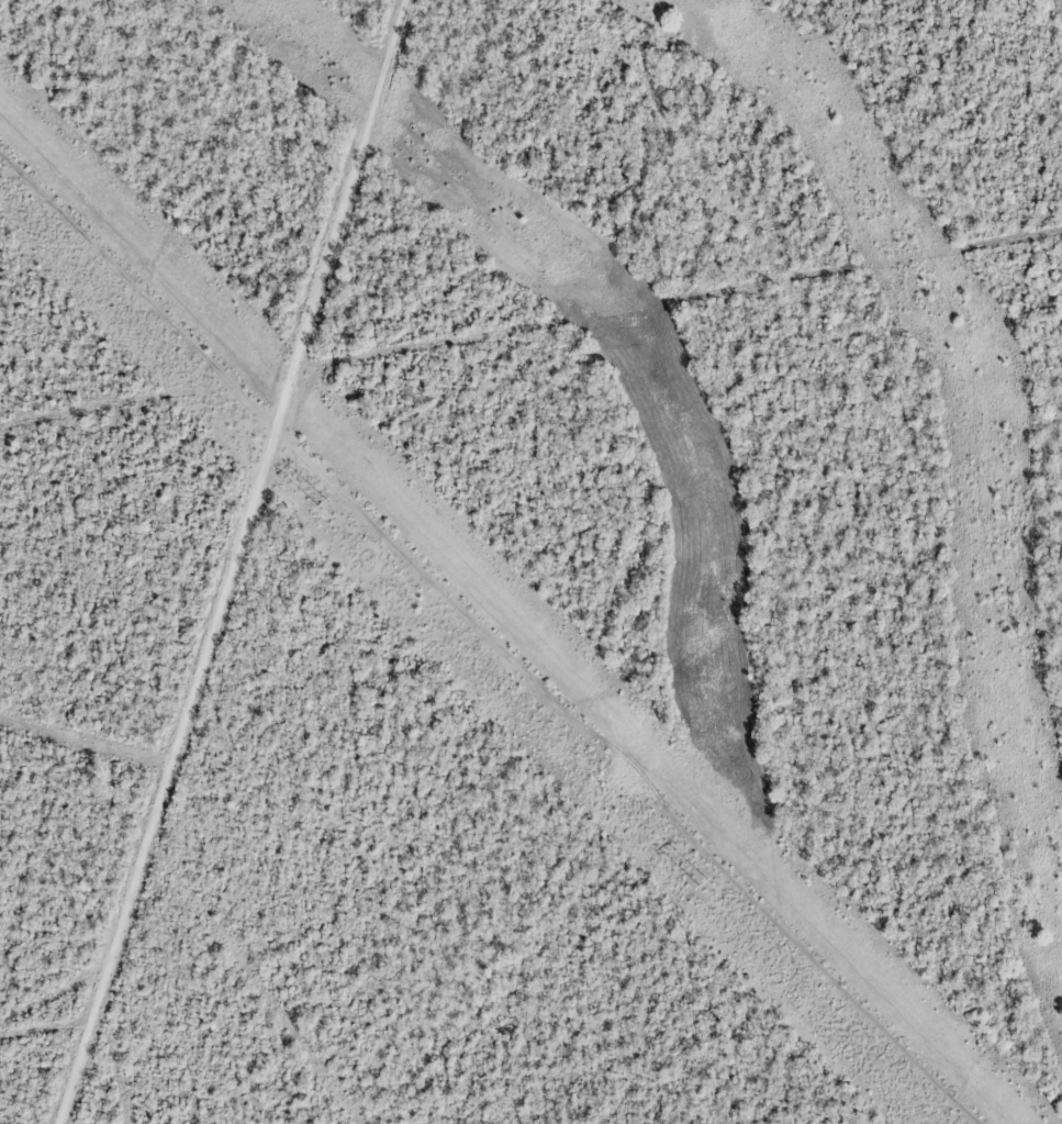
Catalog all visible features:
power tower: (325, 509)
power tower: (704, 884)

